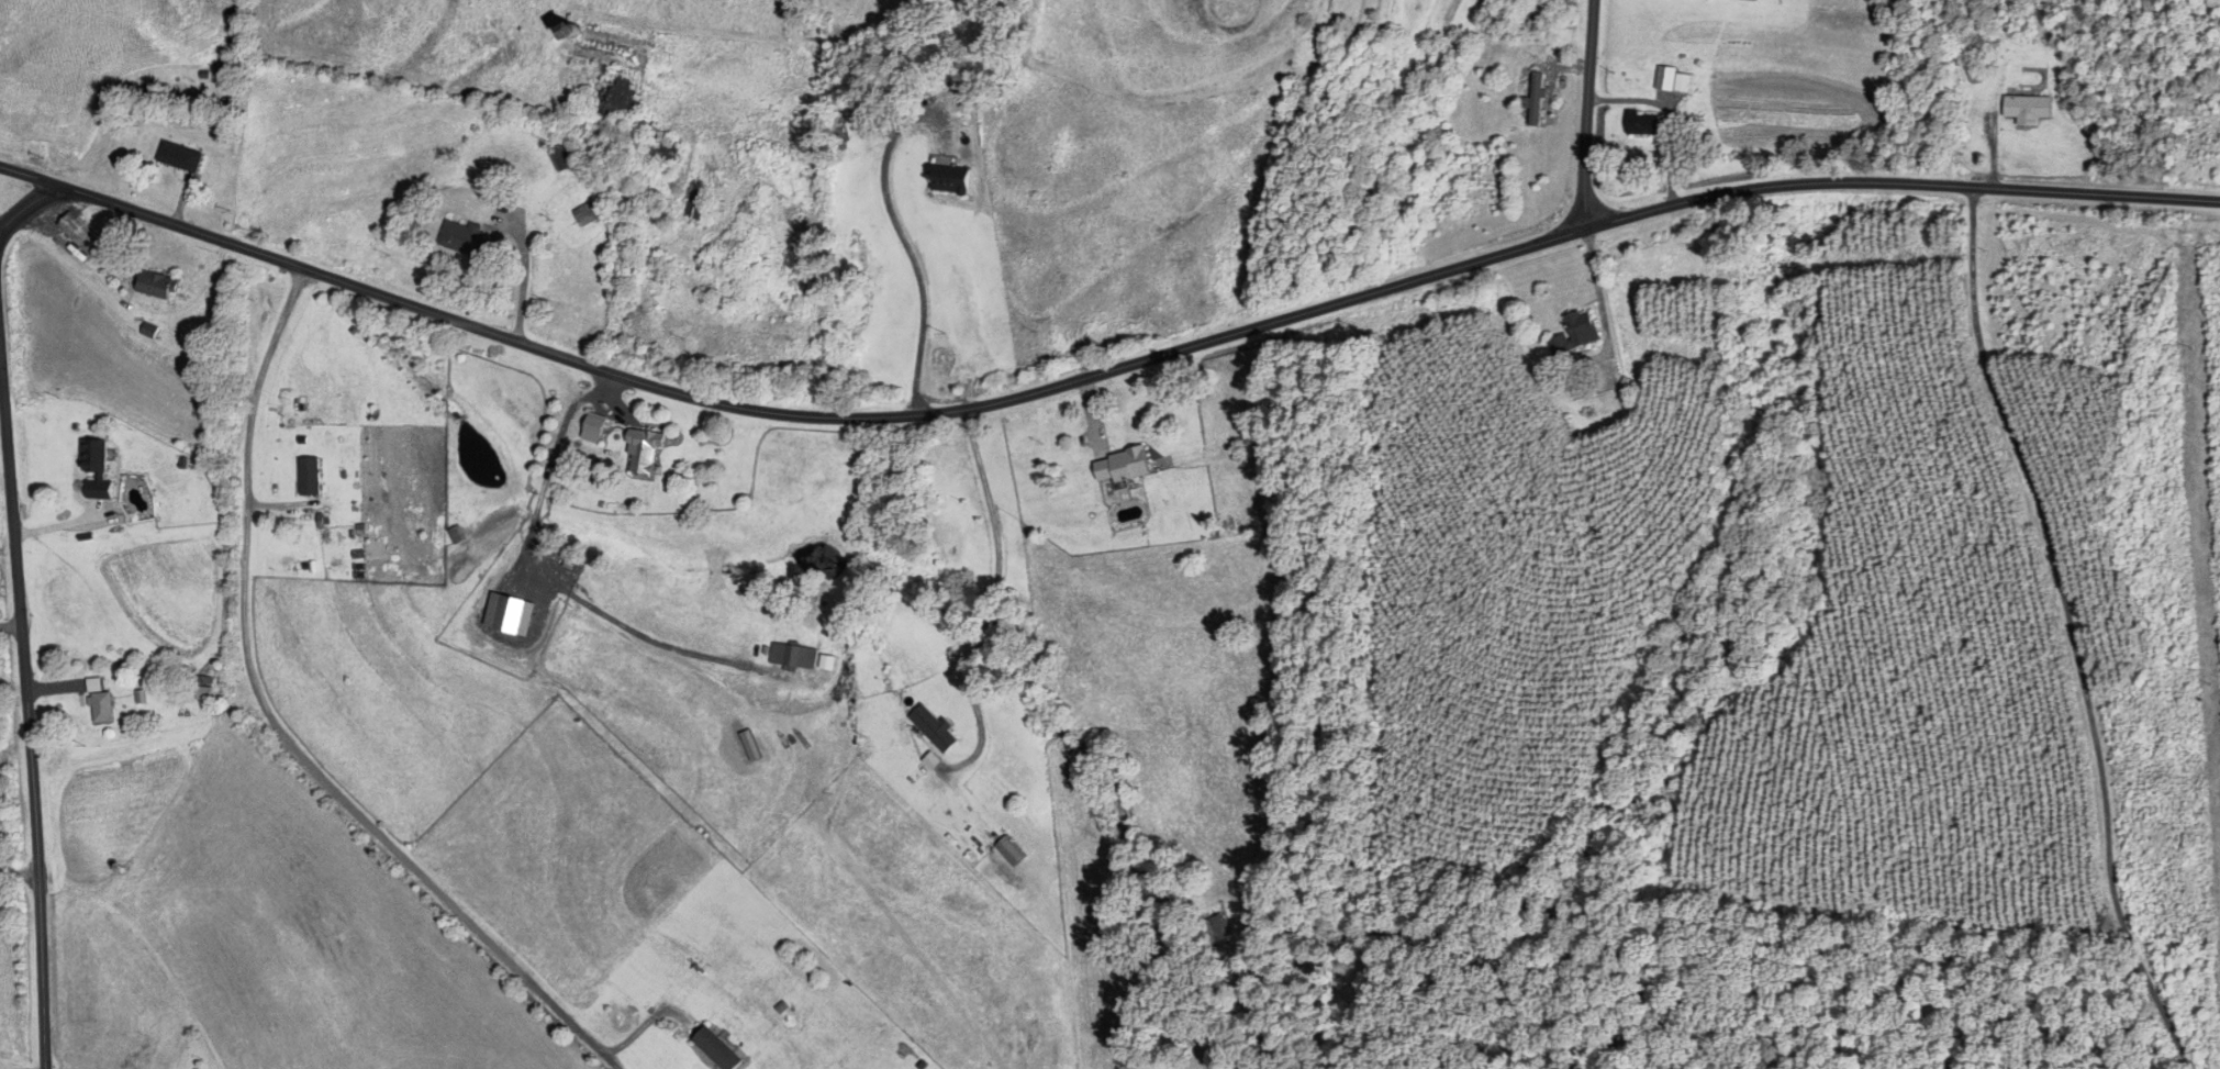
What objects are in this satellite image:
building: (1975, 69)
building: (1672, 79)
building: (614, 92)
building: (1537, 99)
building: (2028, 107)
road: (1588, 113)
building: (860, 119)
building: (1643, 122)
building: (666, 154)
building: (180, 156)
building: (561, 156)
building: (951, 179)
road: (33, 201)
building: (696, 204)
building: (80, 233)
road: (900, 235)
building: (469, 241)
building: (156, 283)
building: (1577, 332)
road: (1101, 372)
building: (594, 426)
building: (645, 446)
building: (1124, 465)
building: (94, 469)
building: (310, 476)
road: (12, 509)
road: (544, 569)
road: (990, 602)
road: (2059, 626)
building: (793, 656)
building: (204, 688)
building: (100, 702)
building: (935, 728)
road: (272, 732)
building: (1009, 850)
road: (36, 870)
road: (18, 872)
building: (1214, 931)
building: (718, 1049)
road: (5, 1066)

